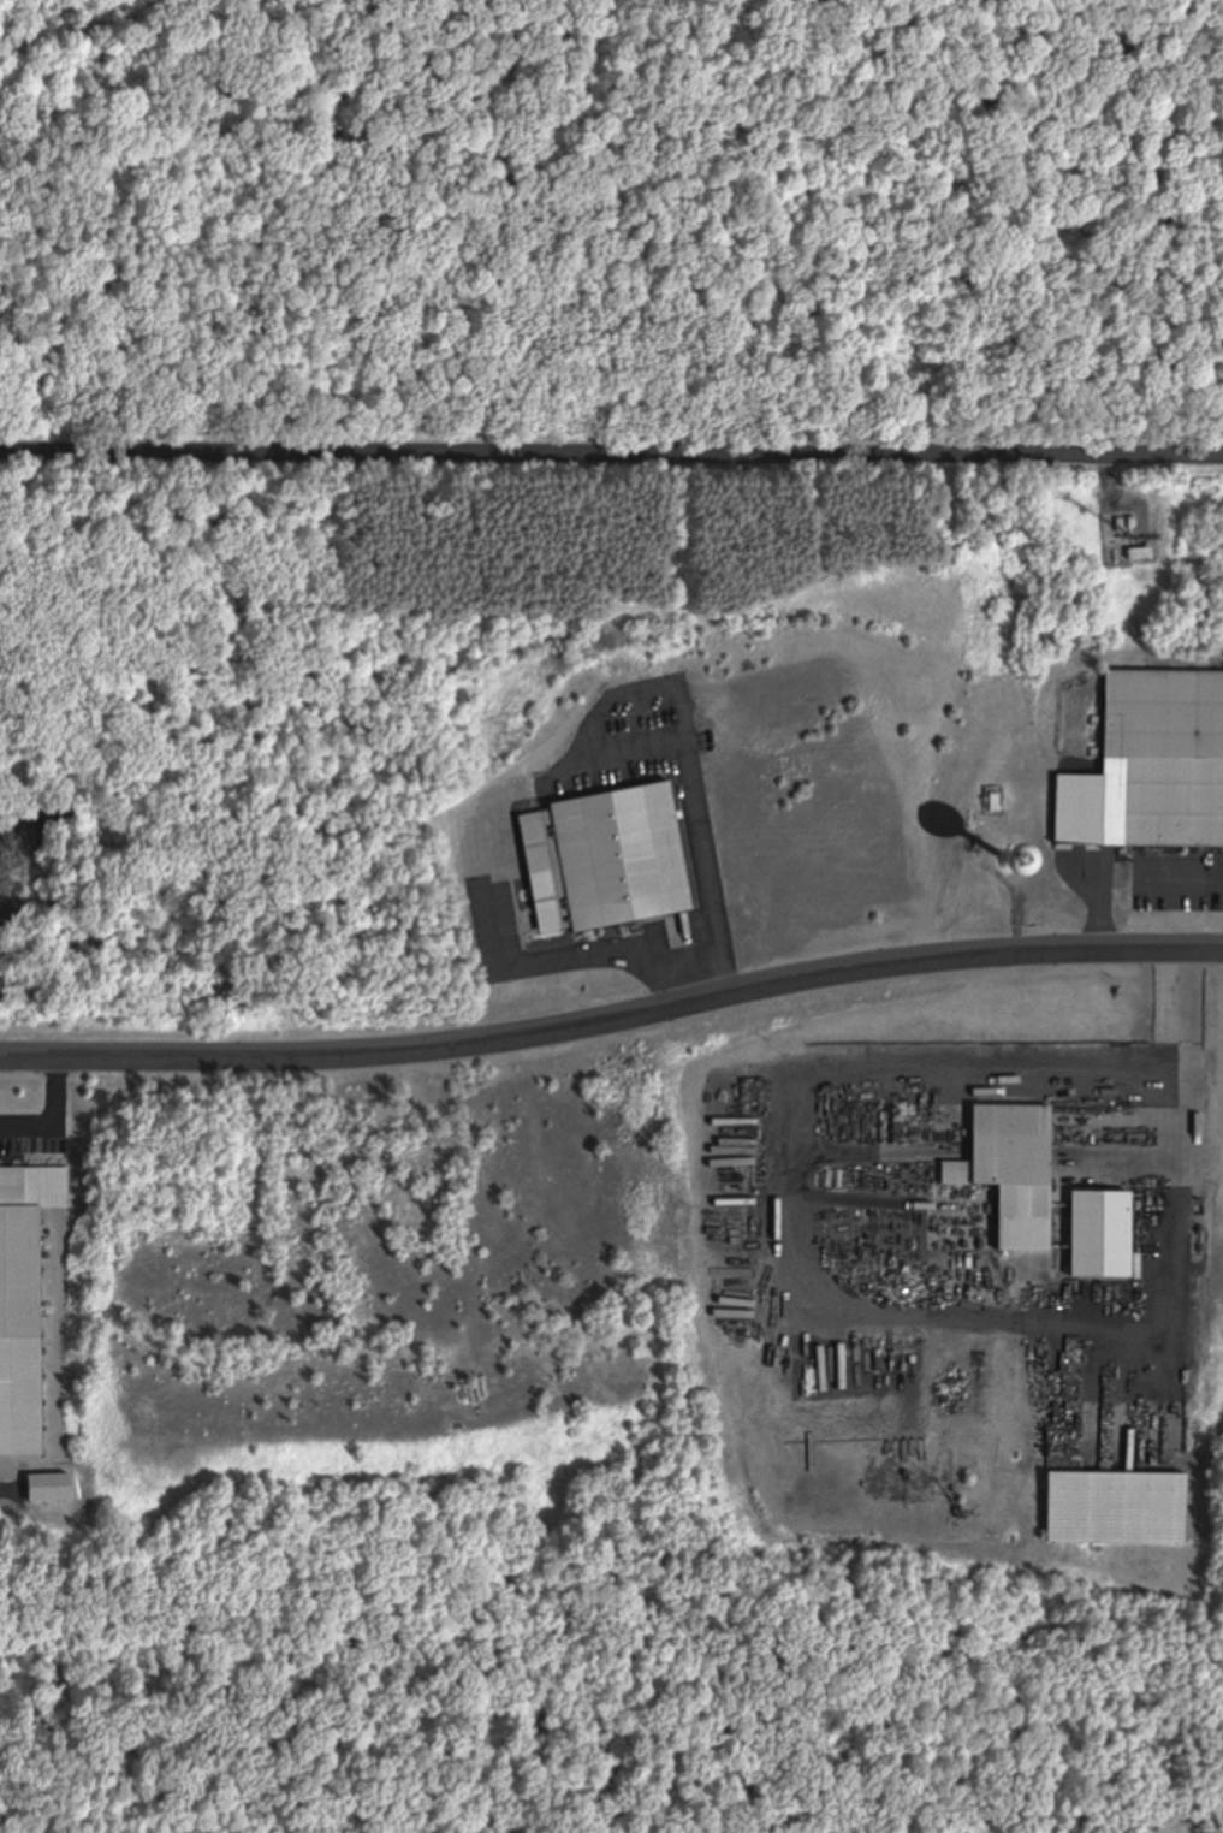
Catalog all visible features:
road: (611, 447)
road: (458, 581)
park: (363, 682)
road: (97, 688)
building: (1160, 760)
water tower: (1019, 848)
building: (601, 860)
road: (613, 1018)
road: (57, 1114)
building: (1008, 1173)
building: (1094, 1235)
building: (24, 1303)
building: (43, 1489)
building: (1109, 1509)

